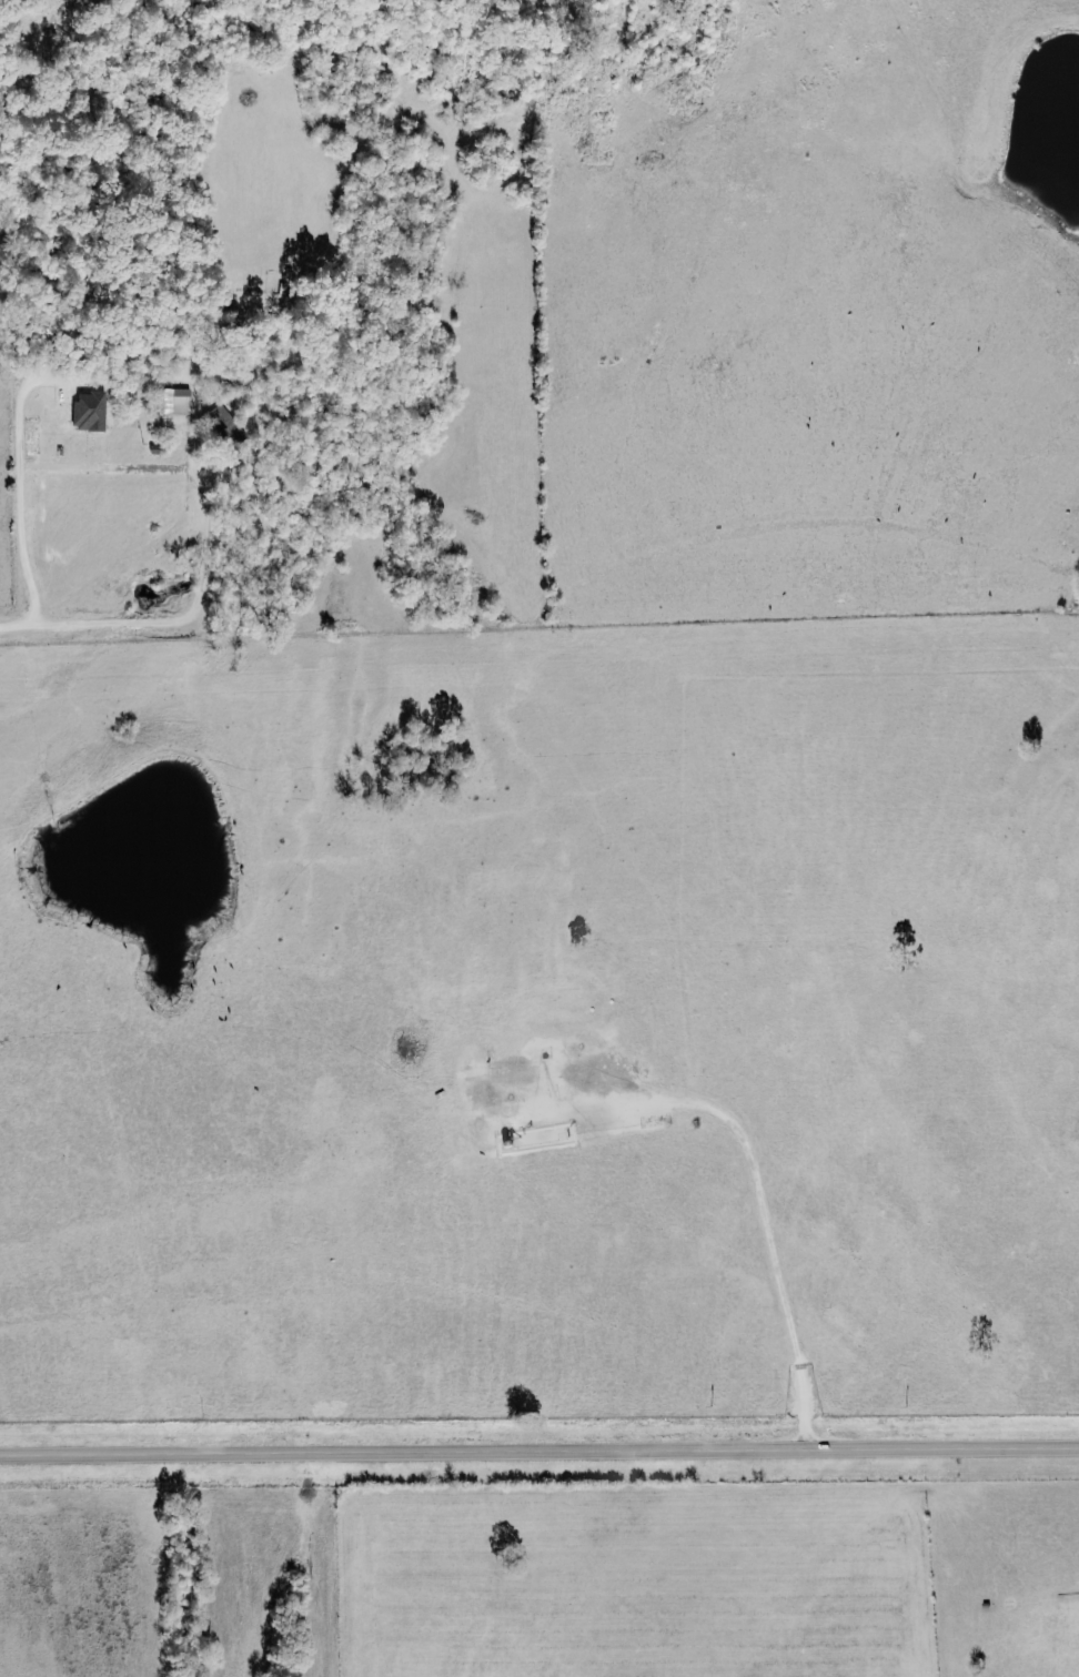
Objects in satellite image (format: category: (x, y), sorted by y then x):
building: (174, 401)
building: (88, 411)
building: (225, 424)
road: (539, 1452)

